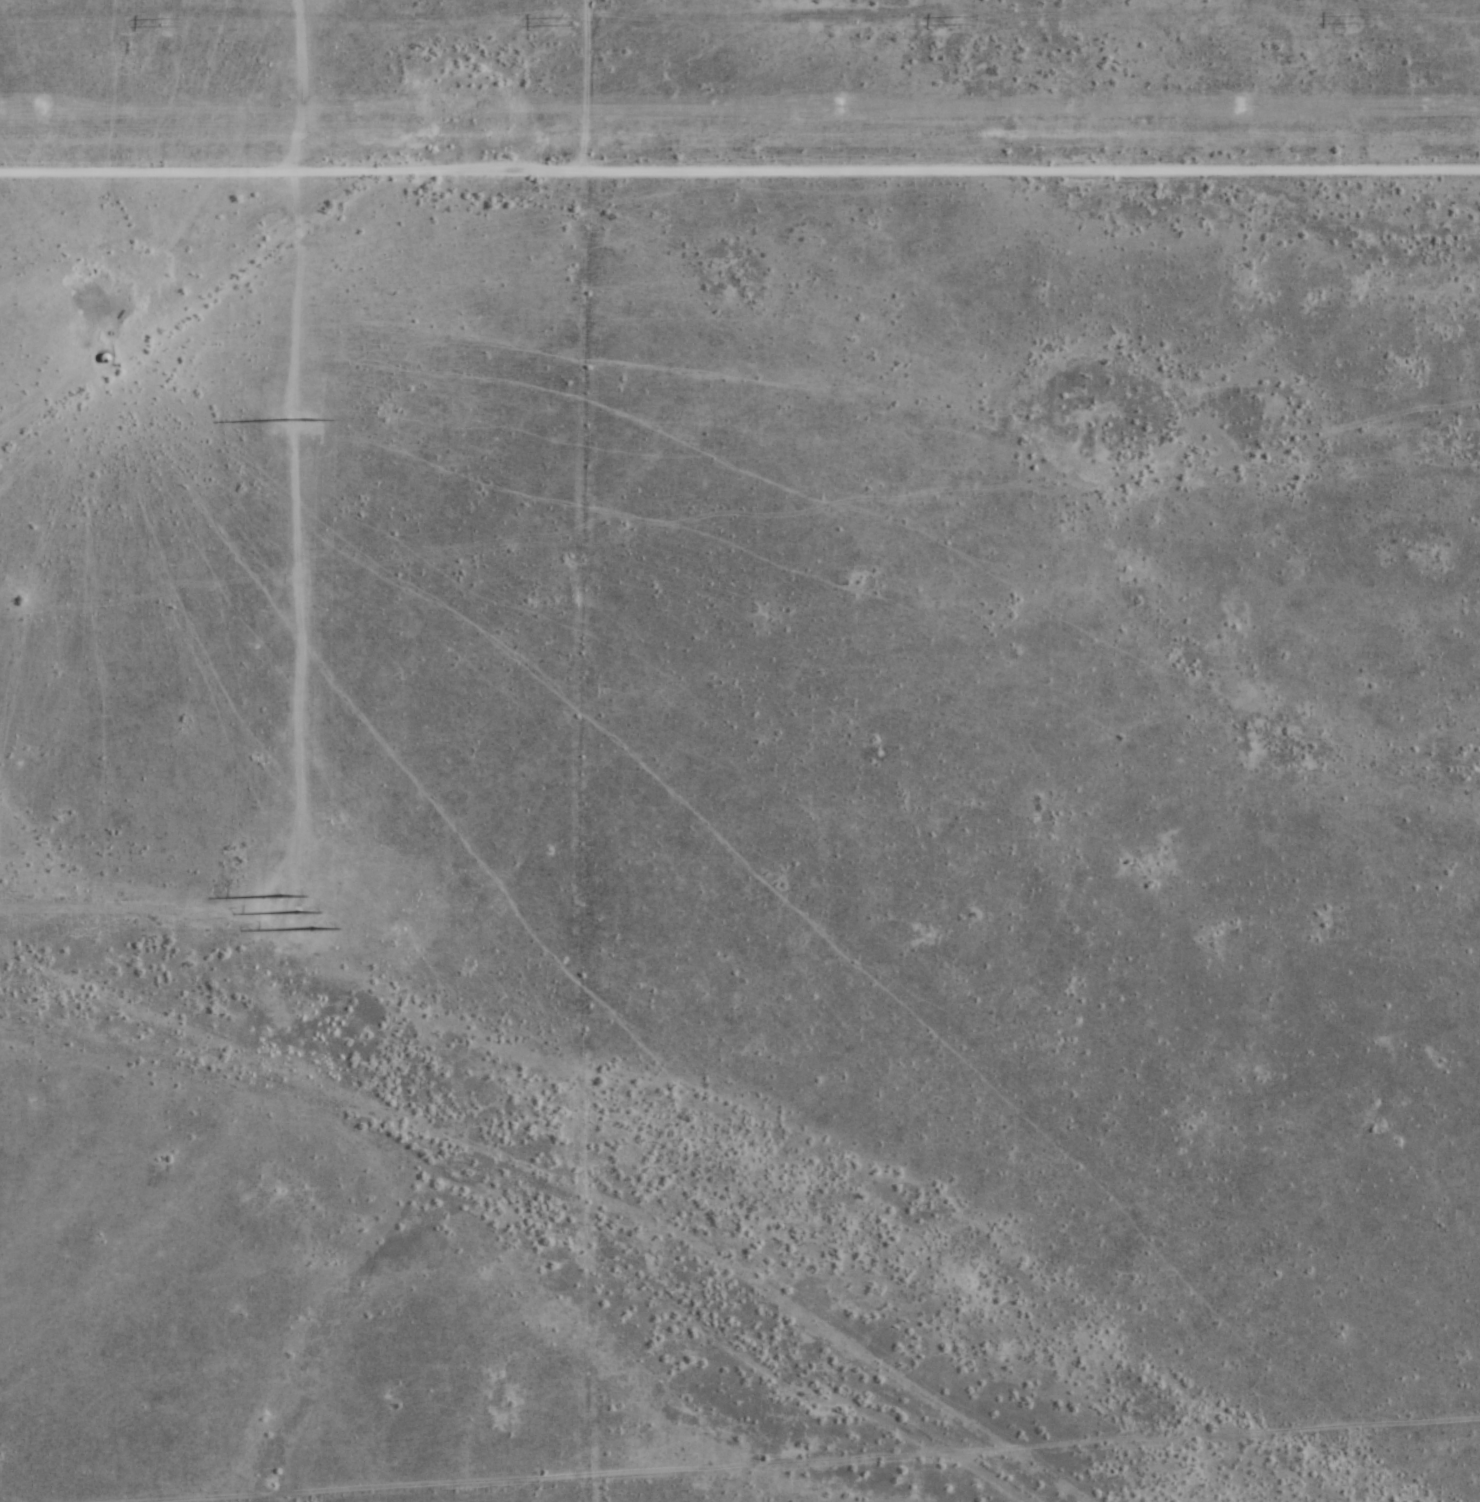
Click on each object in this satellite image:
power tower: (958, 20)
power tower: (1350, 20)
power tower: (160, 22)
power tower: (556, 22)
power tower: (839, 106)
power tower: (1239, 106)
power tower: (39, 108)
power tower: (442, 108)
power tower: (288, 419)
power tower: (291, 912)

